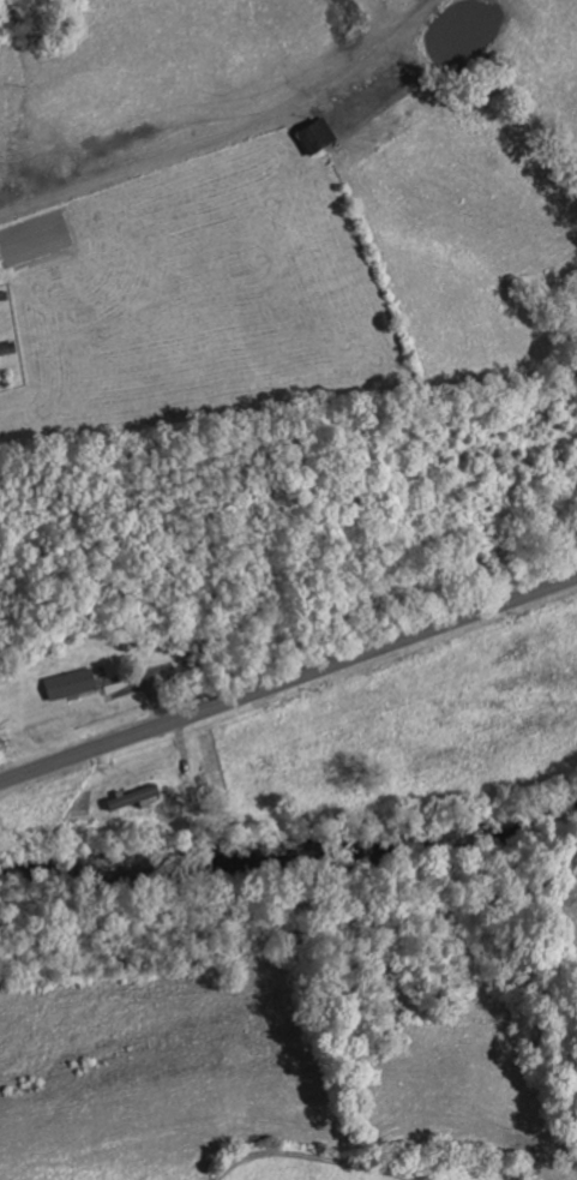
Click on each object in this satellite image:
road: (545, 664)
building: (77, 683)
road: (288, 684)
river: (290, 853)
road: (313, 1158)

